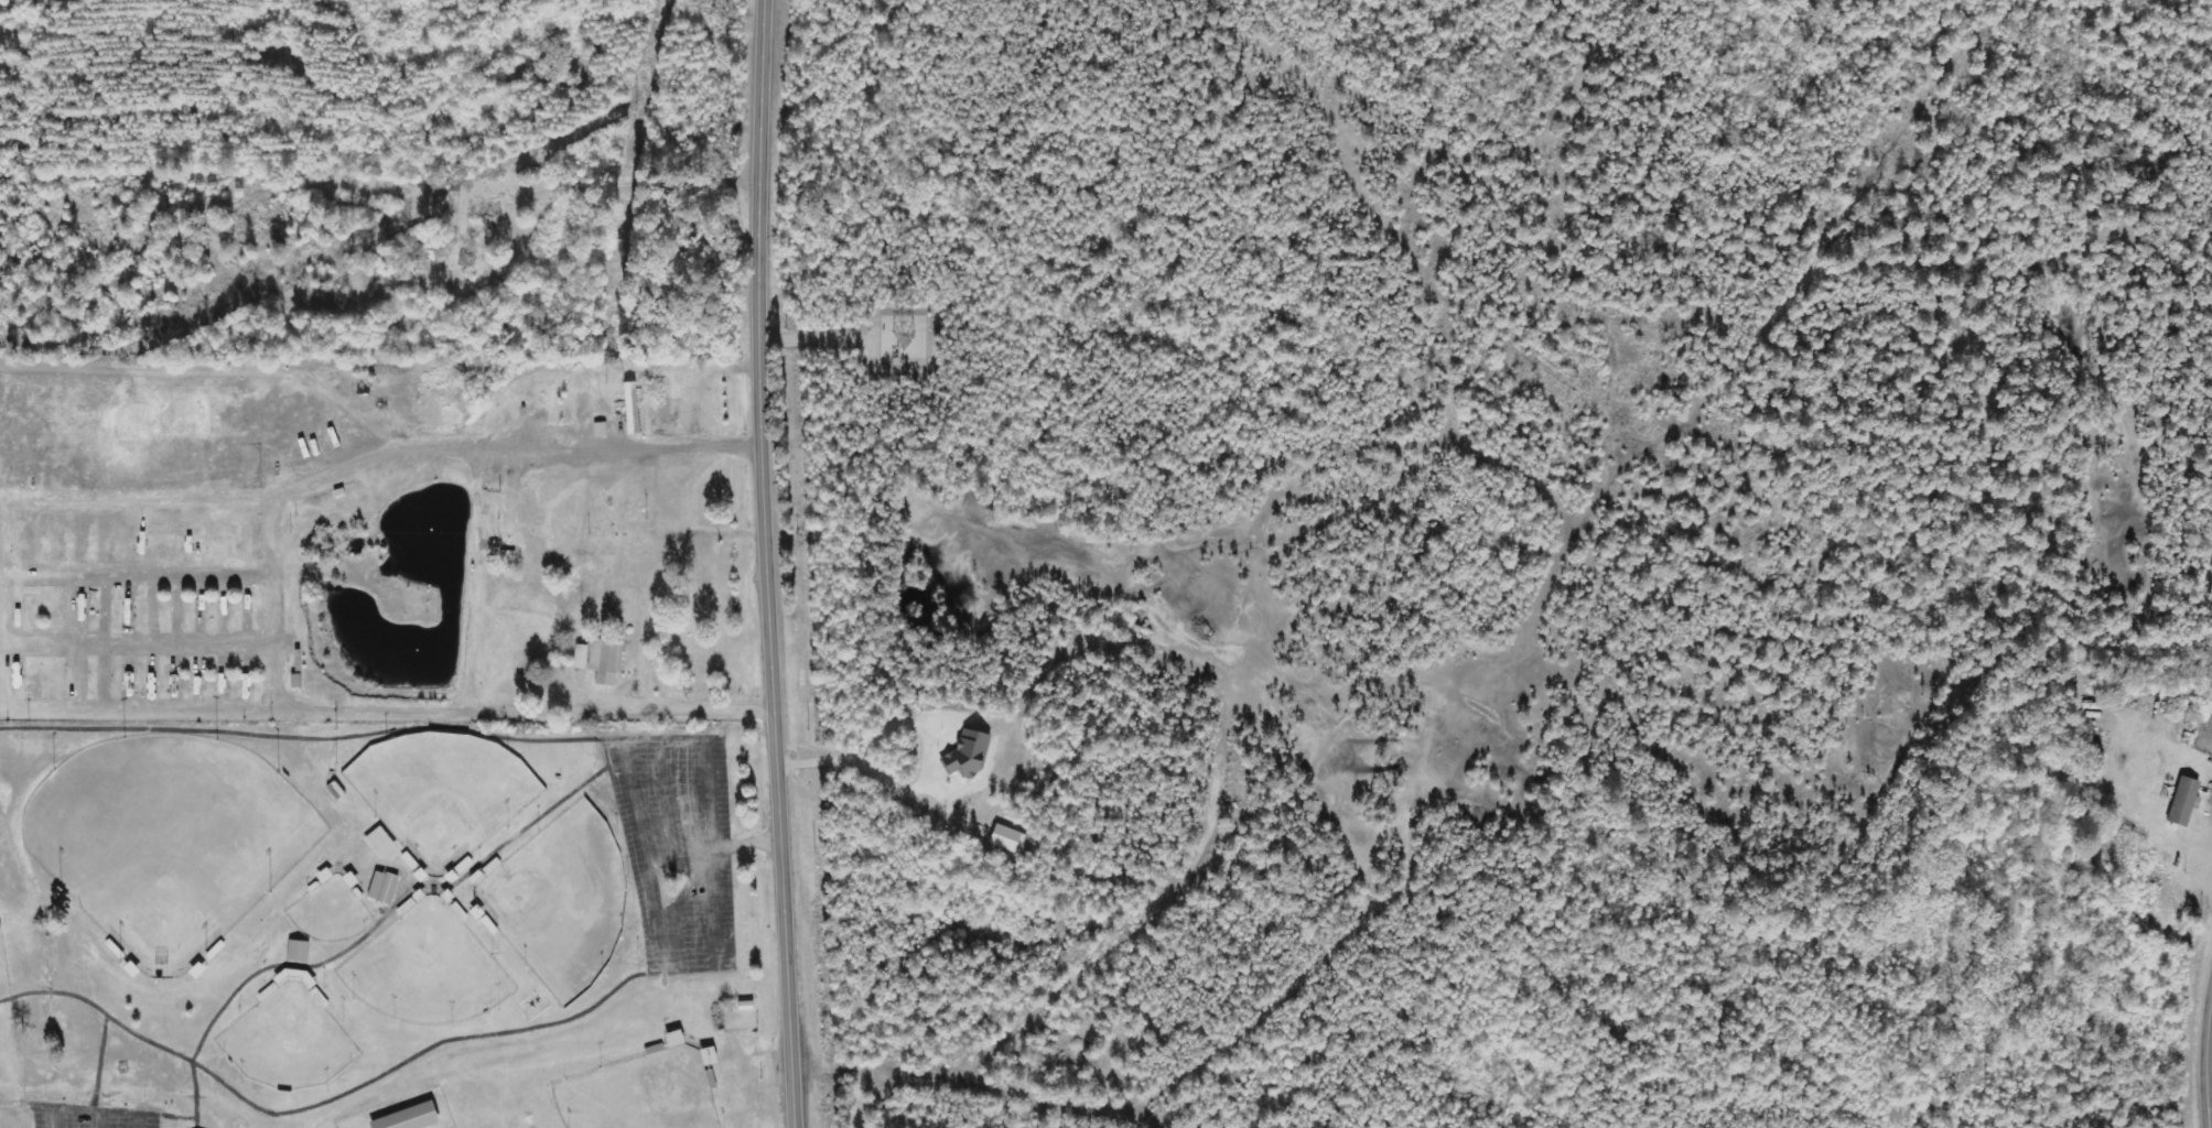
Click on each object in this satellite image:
building: (634, 408)
building: (602, 430)
road: (766, 564)
building: (603, 659)
road: (387, 708)
road: (311, 737)
building: (971, 755)
park: (441, 792)
building: (2186, 801)
road: (668, 810)
road: (709, 835)
building: (1011, 839)
park: (164, 840)
building: (378, 842)
road: (744, 843)
parking lot: (675, 845)
road: (645, 854)
building: (385, 887)
park: (560, 899)
road: (395, 900)
park: (327, 911)
park: (388, 923)
building: (296, 950)
park: (424, 968)
park: (287, 1041)
road: (2203, 1054)
road: (98, 1062)
park: (639, 1093)
road: (328, 1098)
road: (26, 1102)
road: (93, 1111)
parking lot: (87, 1116)
road: (195, 1117)
building: (409, 1117)
road: (97, 1120)

